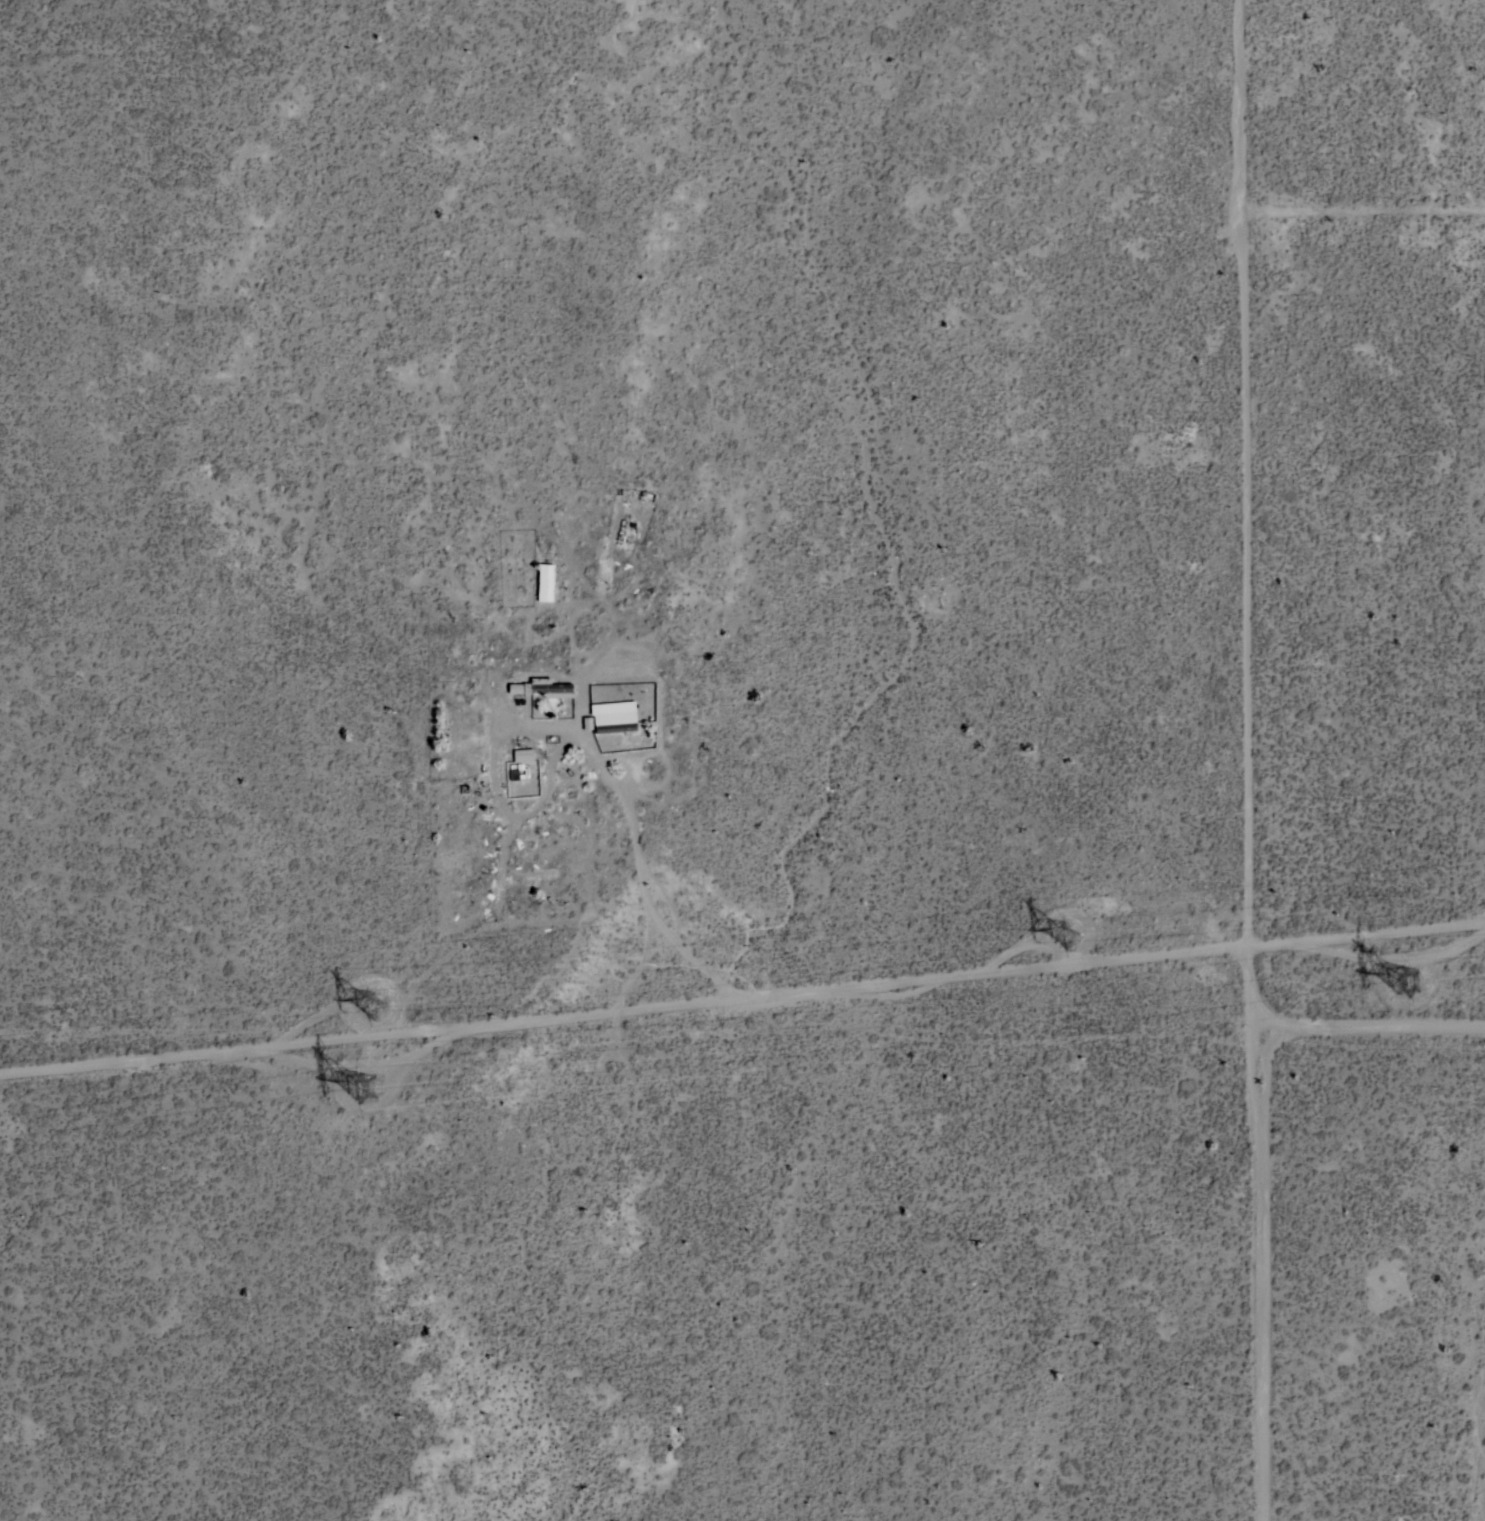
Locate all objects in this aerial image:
road: (1362, 207)
building: (545, 586)
road: (1254, 760)
road: (613, 784)
road: (652, 918)
power tower: (1008, 952)
power tower: (1421, 982)
road: (743, 1008)
power tower: (388, 1015)
road: (1376, 1039)
power tower: (381, 1099)

